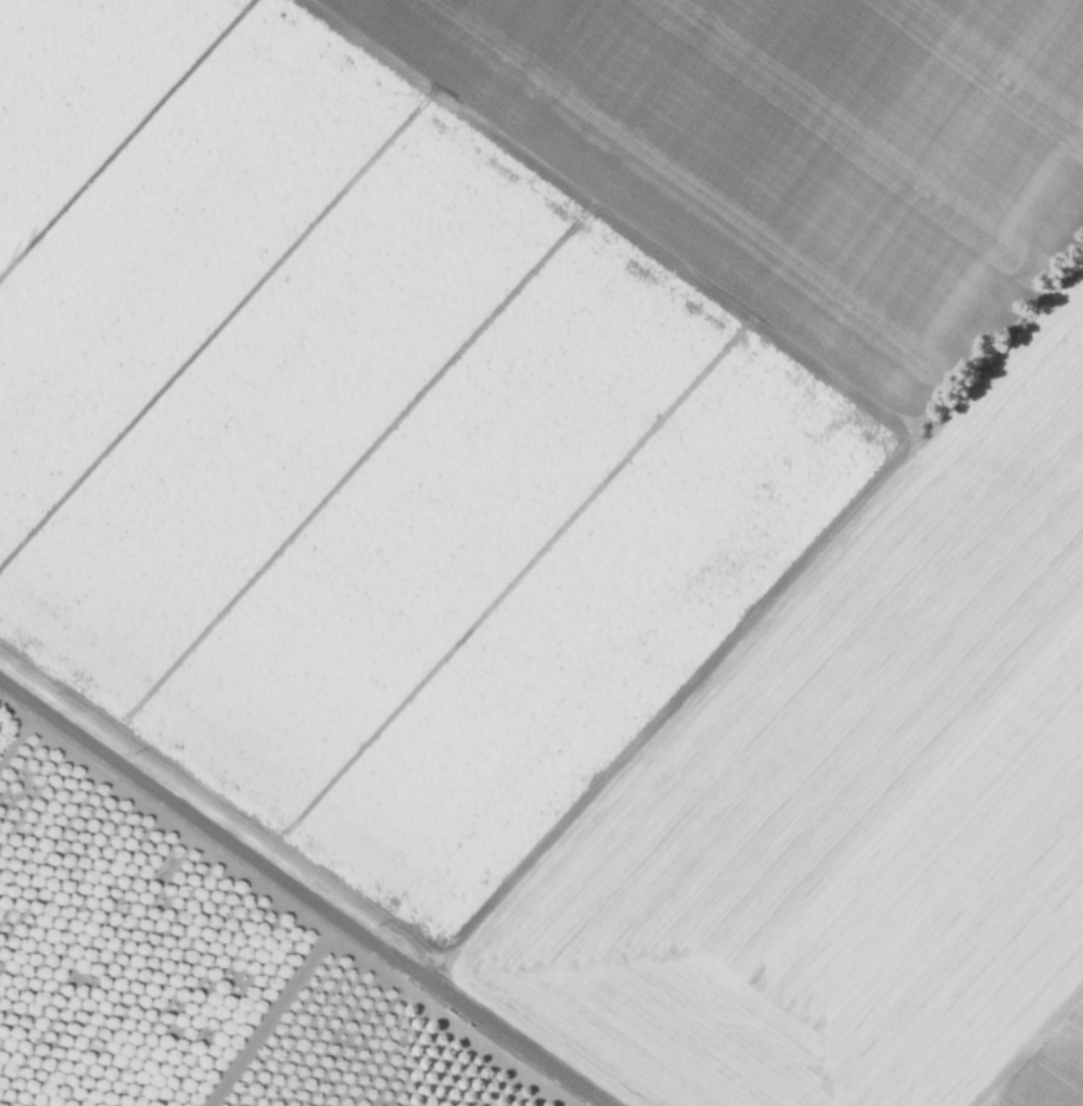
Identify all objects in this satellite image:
crop: (585, 498)
road: (300, 893)
road: (1025, 1042)

